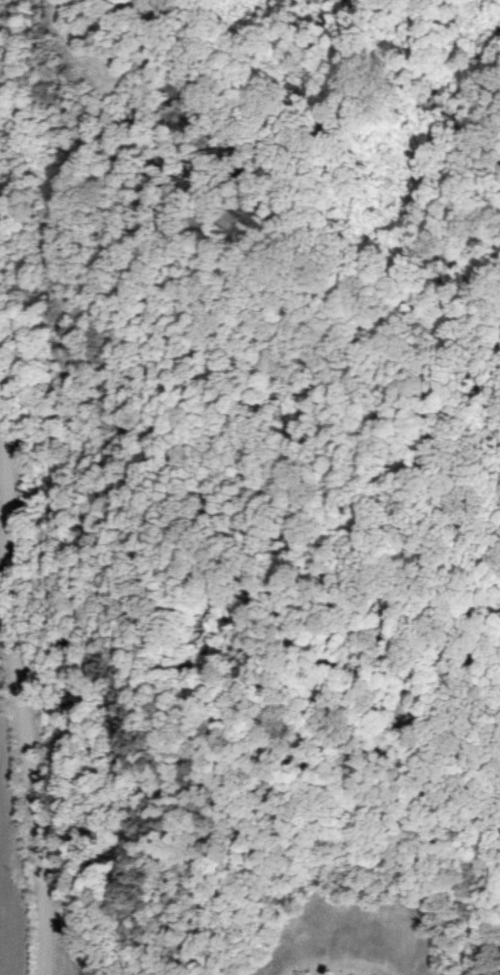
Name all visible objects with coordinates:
road: (2, 918)

